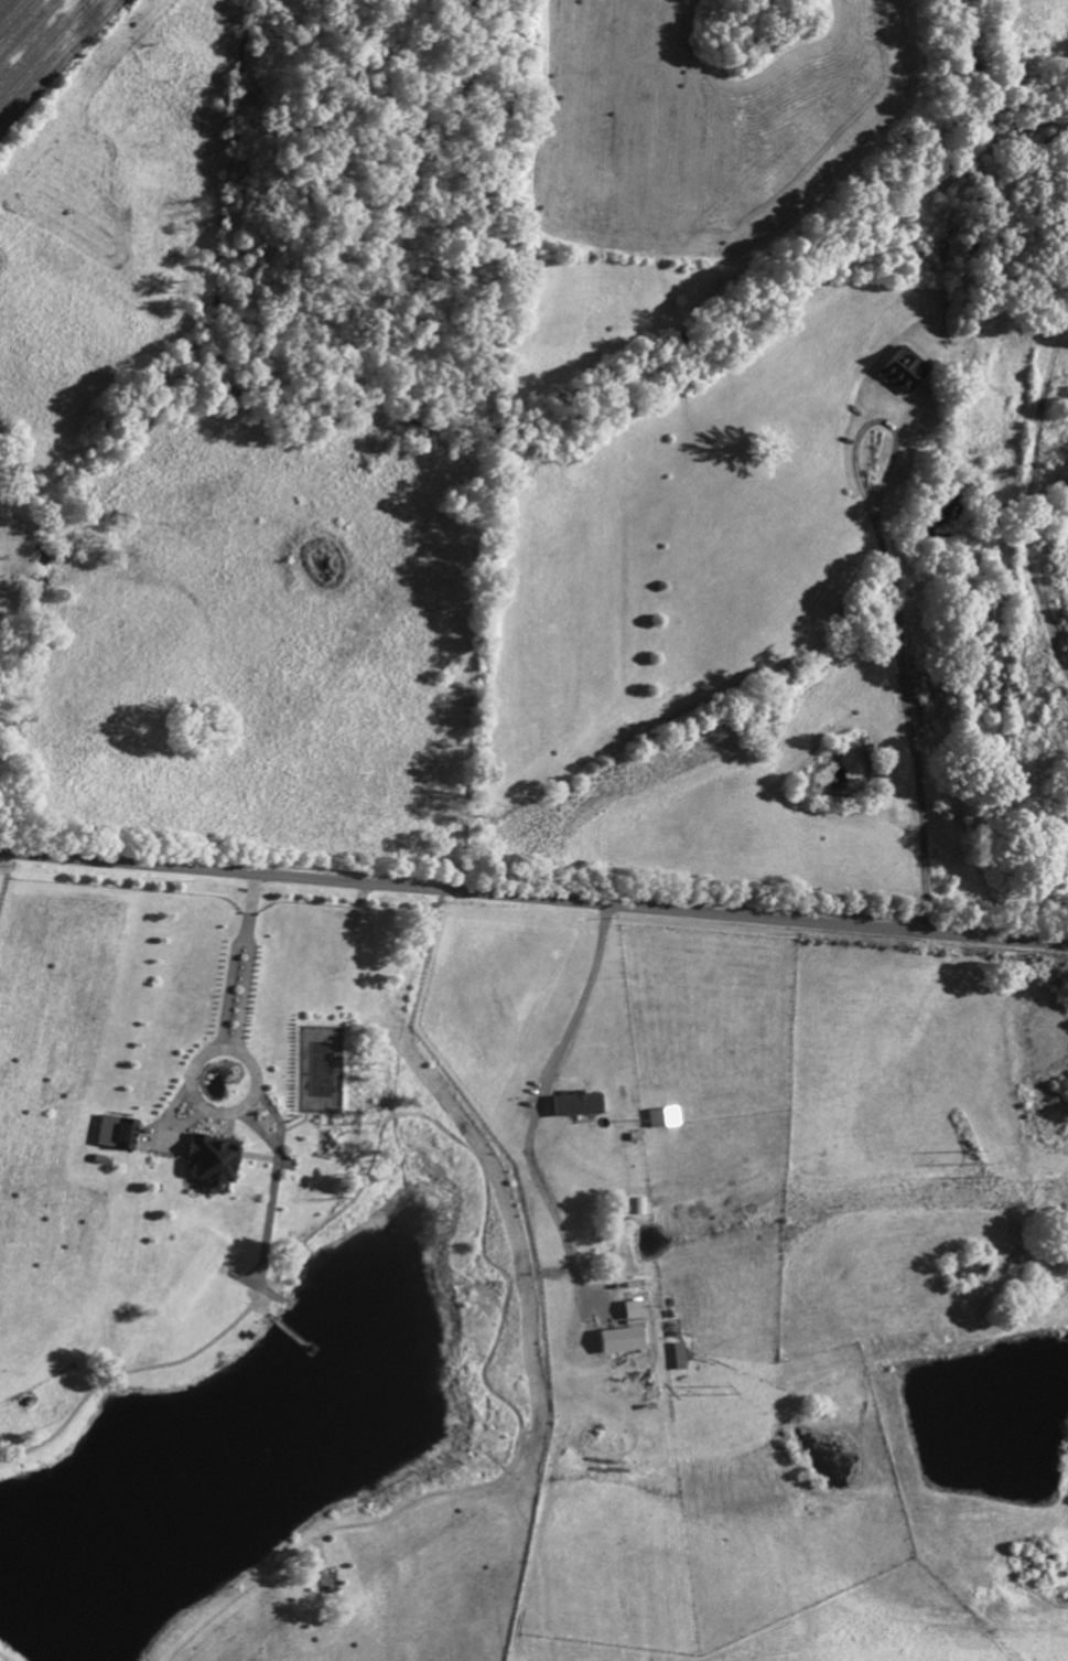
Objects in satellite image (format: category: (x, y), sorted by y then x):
road: (903, 613)
road: (533, 901)
road: (236, 962)
building: (578, 1108)
road: (528, 1110)
road: (215, 1112)
building: (115, 1136)
building: (209, 1164)
building: (621, 1343)
power tower: (724, 1390)

